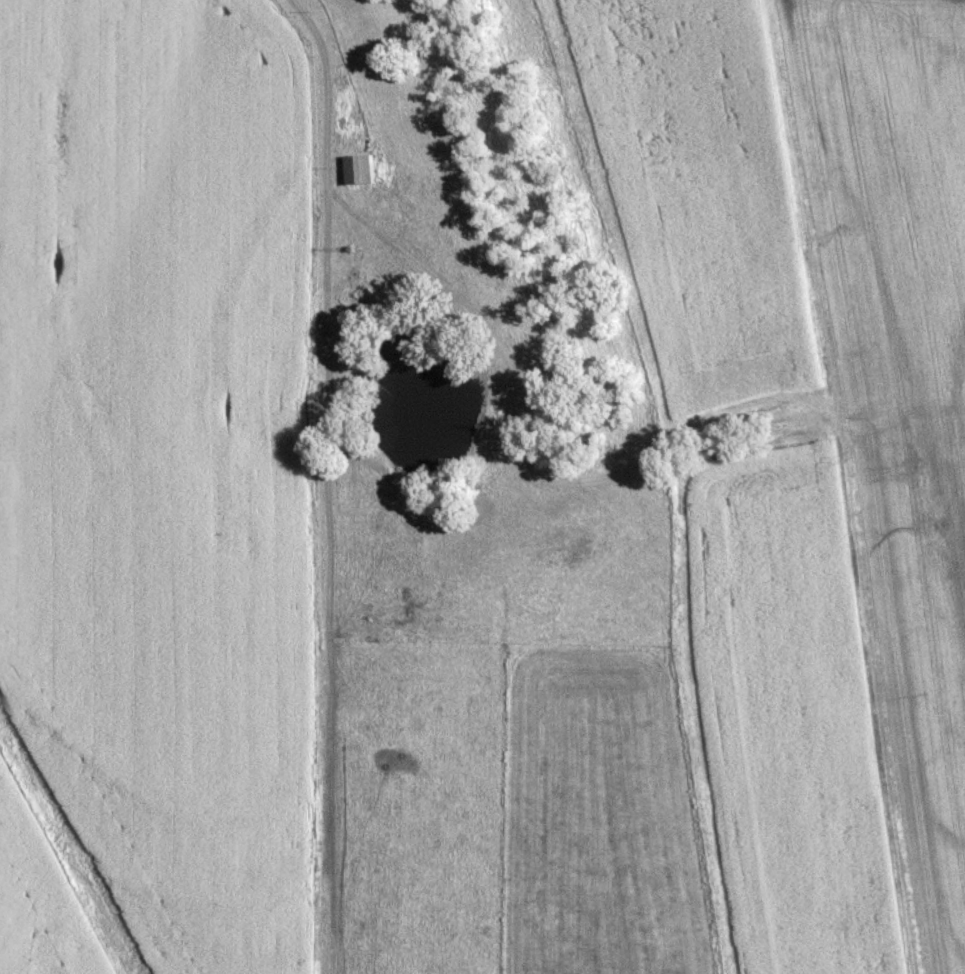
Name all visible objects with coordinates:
road: (335, 78)
building: (365, 167)

